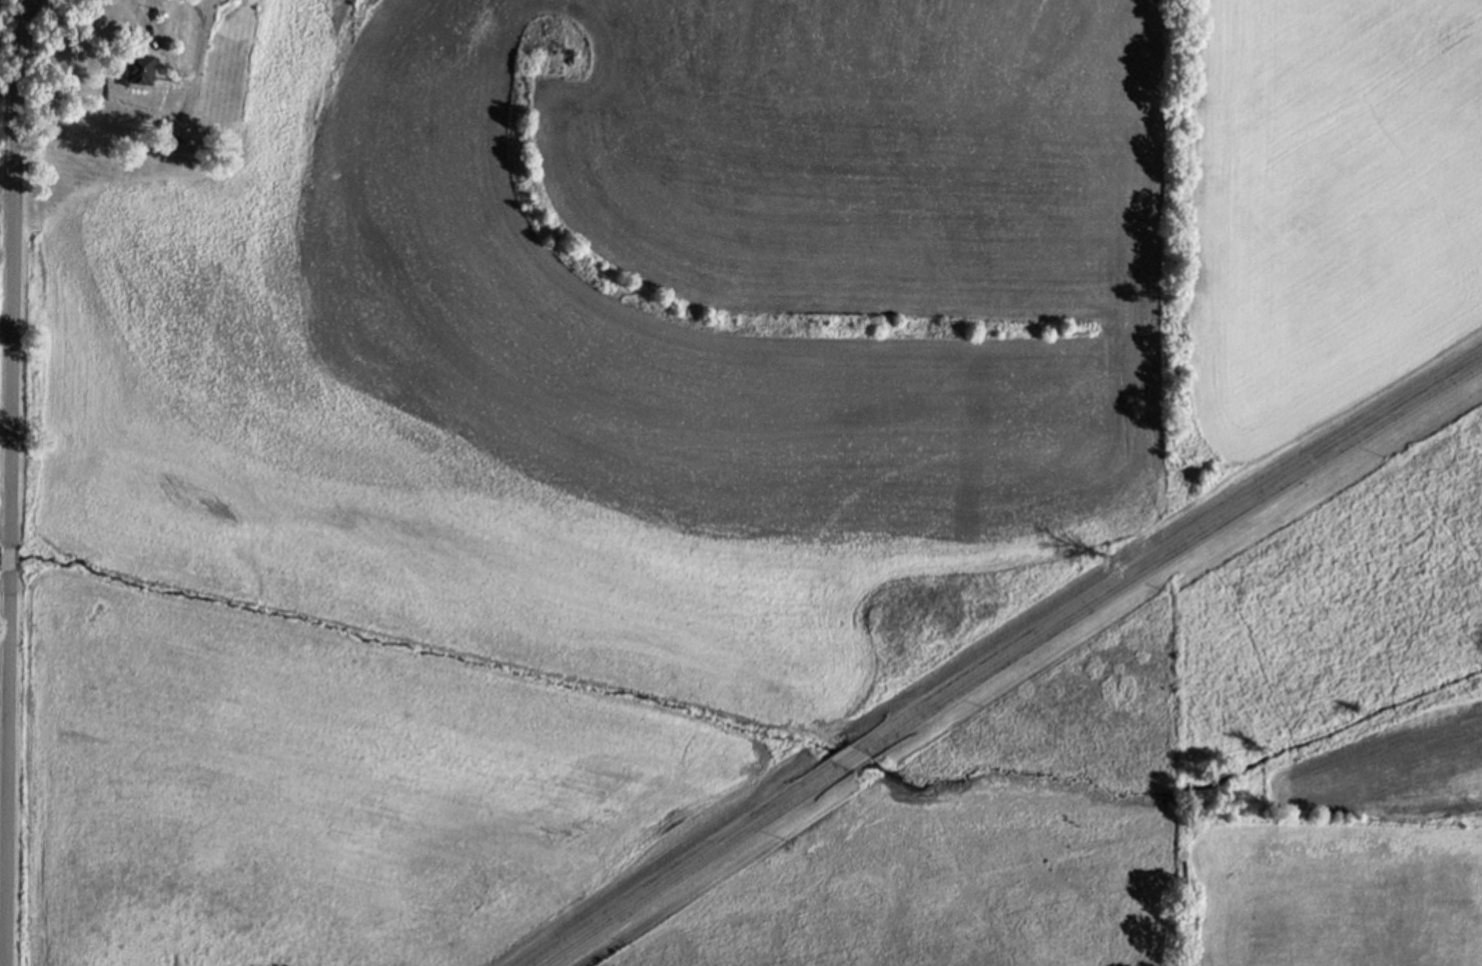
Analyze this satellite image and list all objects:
building: (133, 36)
building: (138, 71)
road: (162, 127)
building: (174, 139)
road: (10, 482)
road: (1007, 656)
road: (3, 941)

